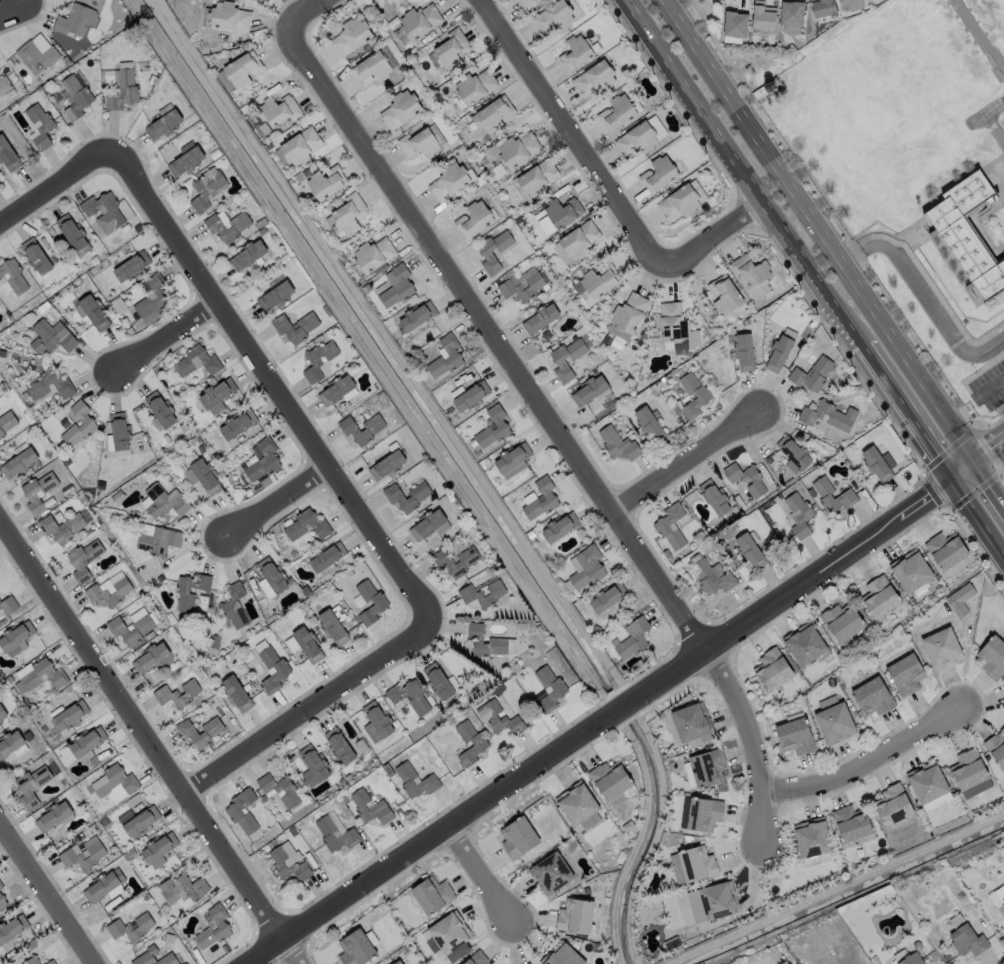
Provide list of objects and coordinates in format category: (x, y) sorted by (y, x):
building: (529, 3)
building: (850, 4)
road: (11, 7)
building: (823, 8)
road: (304, 14)
building: (792, 14)
building: (230, 16)
building: (555, 16)
building: (763, 16)
building: (420, 19)
building: (75, 21)
building: (735, 23)
building: (351, 34)
building: (452, 49)
building: (576, 52)
building: (38, 54)
building: (243, 67)
building: (372, 67)
building: (595, 78)
building: (4, 84)
building: (476, 84)
building: (120, 85)
building: (75, 97)
building: (401, 108)
building: (279, 109)
building: (617, 112)
building: (493, 114)
building: (163, 122)
building: (40, 126)
building: (638, 139)
building: (420, 143)
building: (300, 145)
building: (518, 148)
building: (8, 152)
building: (186, 158)
road: (774, 166)
building: (661, 173)
road: (741, 174)
building: (538, 177)
building: (450, 180)
building: (326, 181)
road: (601, 181)
road: (58, 187)
building: (205, 189)
building: (681, 202)
building: (103, 210)
building: (563, 211)
building: (349, 212)
building: (474, 219)
building: (216, 227)
building: (73, 234)
building: (967, 234)
building: (581, 239)
building: (247, 253)
building: (486, 253)
building: (374, 254)
road: (849, 255)
building: (35, 256)
building: (131, 266)
building: (751, 269)
building: (13, 275)
building: (597, 283)
building: (522, 284)
building: (397, 285)
building: (726, 294)
building: (276, 295)
building: (153, 296)
road: (931, 304)
building: (93, 312)
building: (630, 312)
building: (417, 316)
building: (541, 318)
building: (674, 324)
building: (295, 327)
building: (51, 336)
road: (163, 337)
building: (745, 351)
building: (781, 352)
building: (454, 353)
building: (318, 359)
building: (196, 361)
building: (560, 362)
building: (813, 374)
building: (61, 383)
road: (272, 384)
road: (990, 388)
building: (590, 389)
building: (338, 390)
building: (218, 392)
building: (472, 396)
building: (705, 396)
road: (930, 400)
building: (160, 409)
building: (828, 415)
road: (907, 416)
building: (87, 421)
road: (557, 421)
building: (237, 424)
building: (649, 424)
building: (7, 425)
building: (503, 426)
building: (351, 430)
building: (119, 431)
building: (618, 444)
building: (795, 454)
road: (691, 457)
road: (990, 457)
building: (263, 460)
building: (513, 460)
building: (20, 462)
building: (388, 462)
building: (880, 463)
building: (200, 473)
road: (964, 476)
building: (747, 478)
road: (990, 487)
building: (37, 492)
building: (834, 495)
building: (395, 497)
building: (717, 498)
building: (542, 499)
building: (163, 501)
road: (277, 501)
building: (800, 514)
road: (978, 523)
building: (318, 524)
building: (430, 524)
building: (662, 526)
building: (60, 527)
building: (561, 528)
building: (157, 539)
building: (751, 549)
building: (947, 549)
building: (326, 557)
building: (444, 562)
building: (75, 563)
building: (587, 567)
building: (912, 569)
building: (273, 575)
building: (711, 575)
building: (108, 593)
building: (184, 593)
road: (794, 593)
building: (483, 594)
building: (880, 596)
building: (608, 597)
building: (381, 603)
building: (8, 605)
building: (234, 606)
building: (843, 620)
building: (334, 625)
building: (131, 627)
building: (15, 639)
building: (498, 639)
building: (634, 639)
building: (805, 643)
building: (308, 645)
building: (942, 647)
building: (993, 656)
building: (151, 657)
building: (772, 669)
building: (273, 670)
building: (907, 673)
building: (40, 677)
building: (439, 682)
building: (550, 690)
building: (177, 694)
building: (236, 694)
building: (874, 695)
building: (409, 696)
road: (305, 708)
road: (619, 708)
building: (2, 715)
building: (69, 717)
building: (501, 719)
building: (835, 719)
building: (693, 722)
building: (377, 723)
building: (187, 733)
building: (795, 735)
building: (480, 743)
building: (10, 744)
building: (87, 744)
road: (147, 747)
building: (340, 747)
building: (996, 747)
road: (872, 764)
building: (707, 766)
building: (314, 767)
building: (968, 769)
building: (609, 779)
building: (126, 780)
building: (415, 781)
building: (928, 781)
building: (22, 788)
building: (279, 790)
building: (263, 798)
building: (576, 803)
building: (894, 804)
building: (371, 808)
building: (242, 812)
building: (701, 813)
building: (52, 816)
building: (589, 821)
building: (137, 822)
building: (852, 823)
building: (336, 836)
building: (813, 837)
building: (517, 838)
road: (428, 842)
building: (158, 851)
building: (83, 855)
building: (697, 863)
building: (289, 865)
building: (550, 872)
road: (485, 875)
building: (101, 881)
building: (1, 888)
building: (182, 890)
building: (432, 894)
road: (45, 898)
building: (998, 898)
building: (712, 901)
building: (2, 903)
building: (575, 915)
building: (222, 927)
building: (131, 928)
building: (11, 930)
building: (449, 937)
building: (967, 939)
building: (354, 948)
building: (148, 954)
building: (561, 955)
building: (476, 958)
building: (911, 959)
building: (32, 960)
building: (50, 962)
building: (397, 962)
building: (528, 963)

